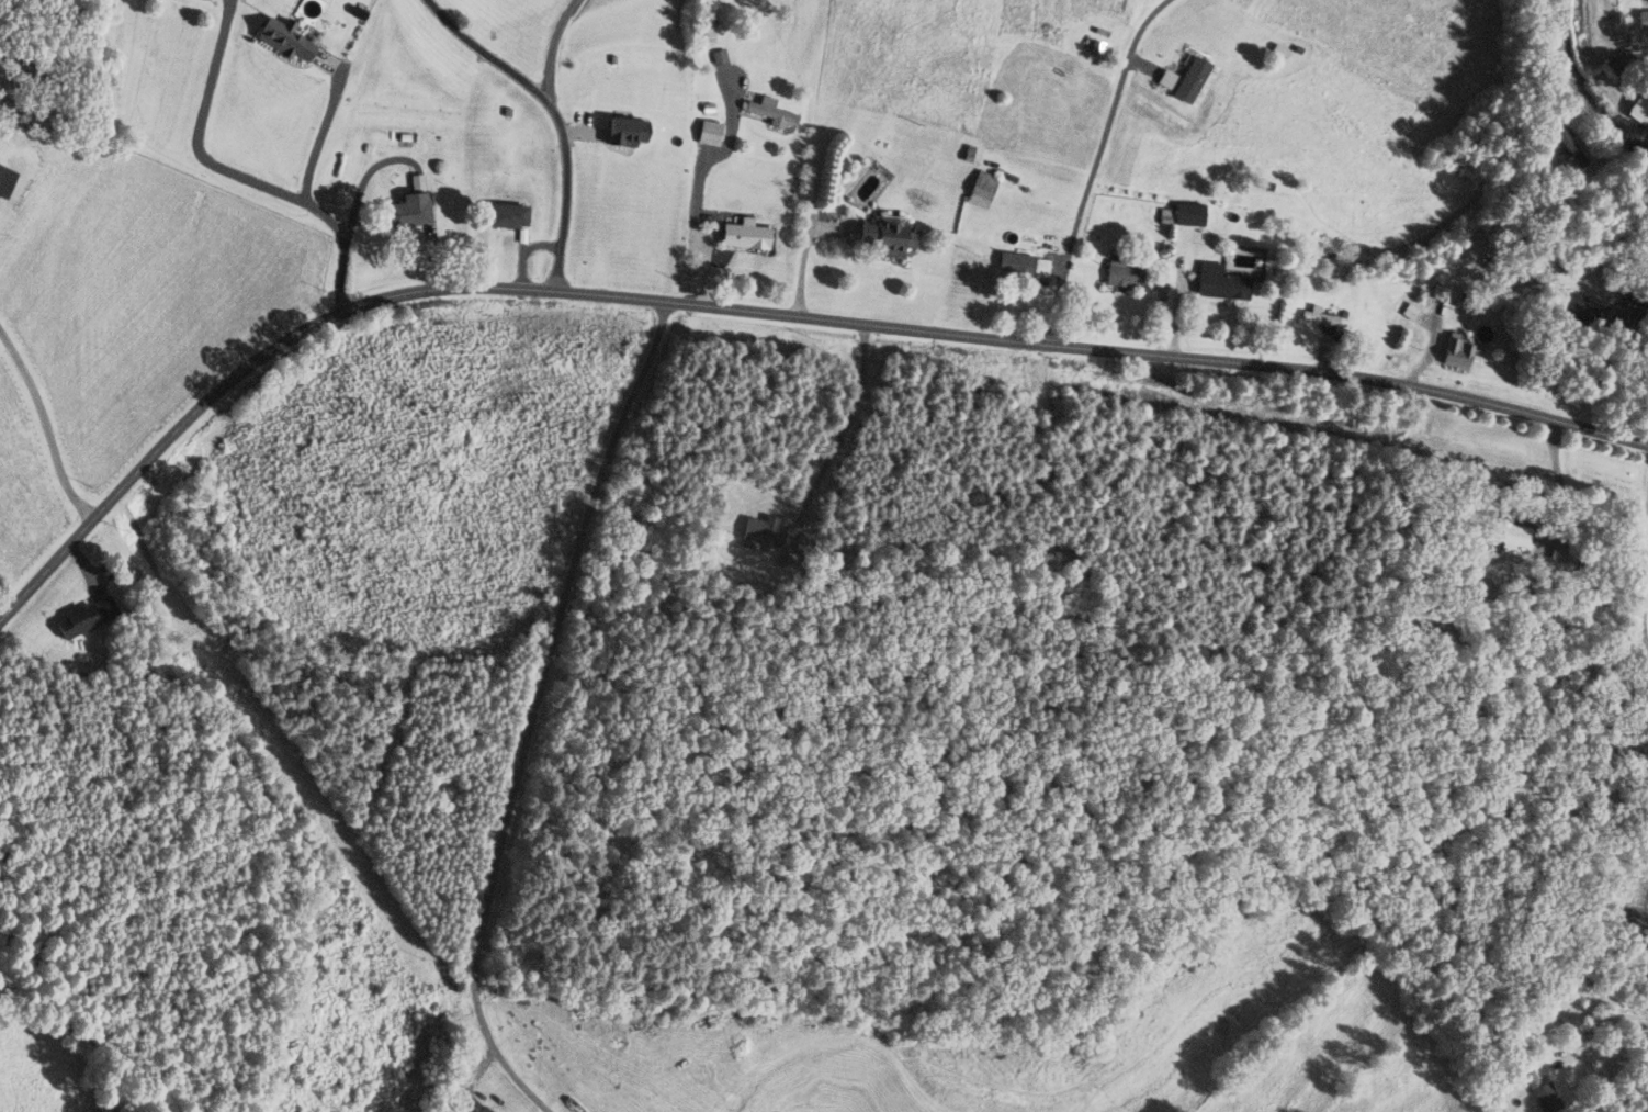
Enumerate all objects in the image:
building: (1643, 18)
building: (282, 37)
road: (551, 50)
building: (718, 56)
road: (1581, 88)
building: (1639, 108)
building: (770, 111)
road: (557, 120)
building: (708, 132)
road: (319, 138)
building: (1562, 138)
road: (1095, 164)
road: (236, 172)
building: (4, 180)
building: (981, 187)
building: (406, 211)
building: (1188, 212)
building: (507, 214)
building: (629, 225)
building: (744, 235)
building: (885, 237)
building: (1015, 261)
building: (1119, 273)
building: (1517, 273)
building: (1219, 281)
road: (764, 311)
building: (1577, 312)
building: (1456, 350)
road: (825, 414)
road: (48, 423)
park: (1643, 566)
building: (84, 615)
road: (531, 709)
road: (1600, 1025)
building: (1542, 1093)
building: (562, 1094)

